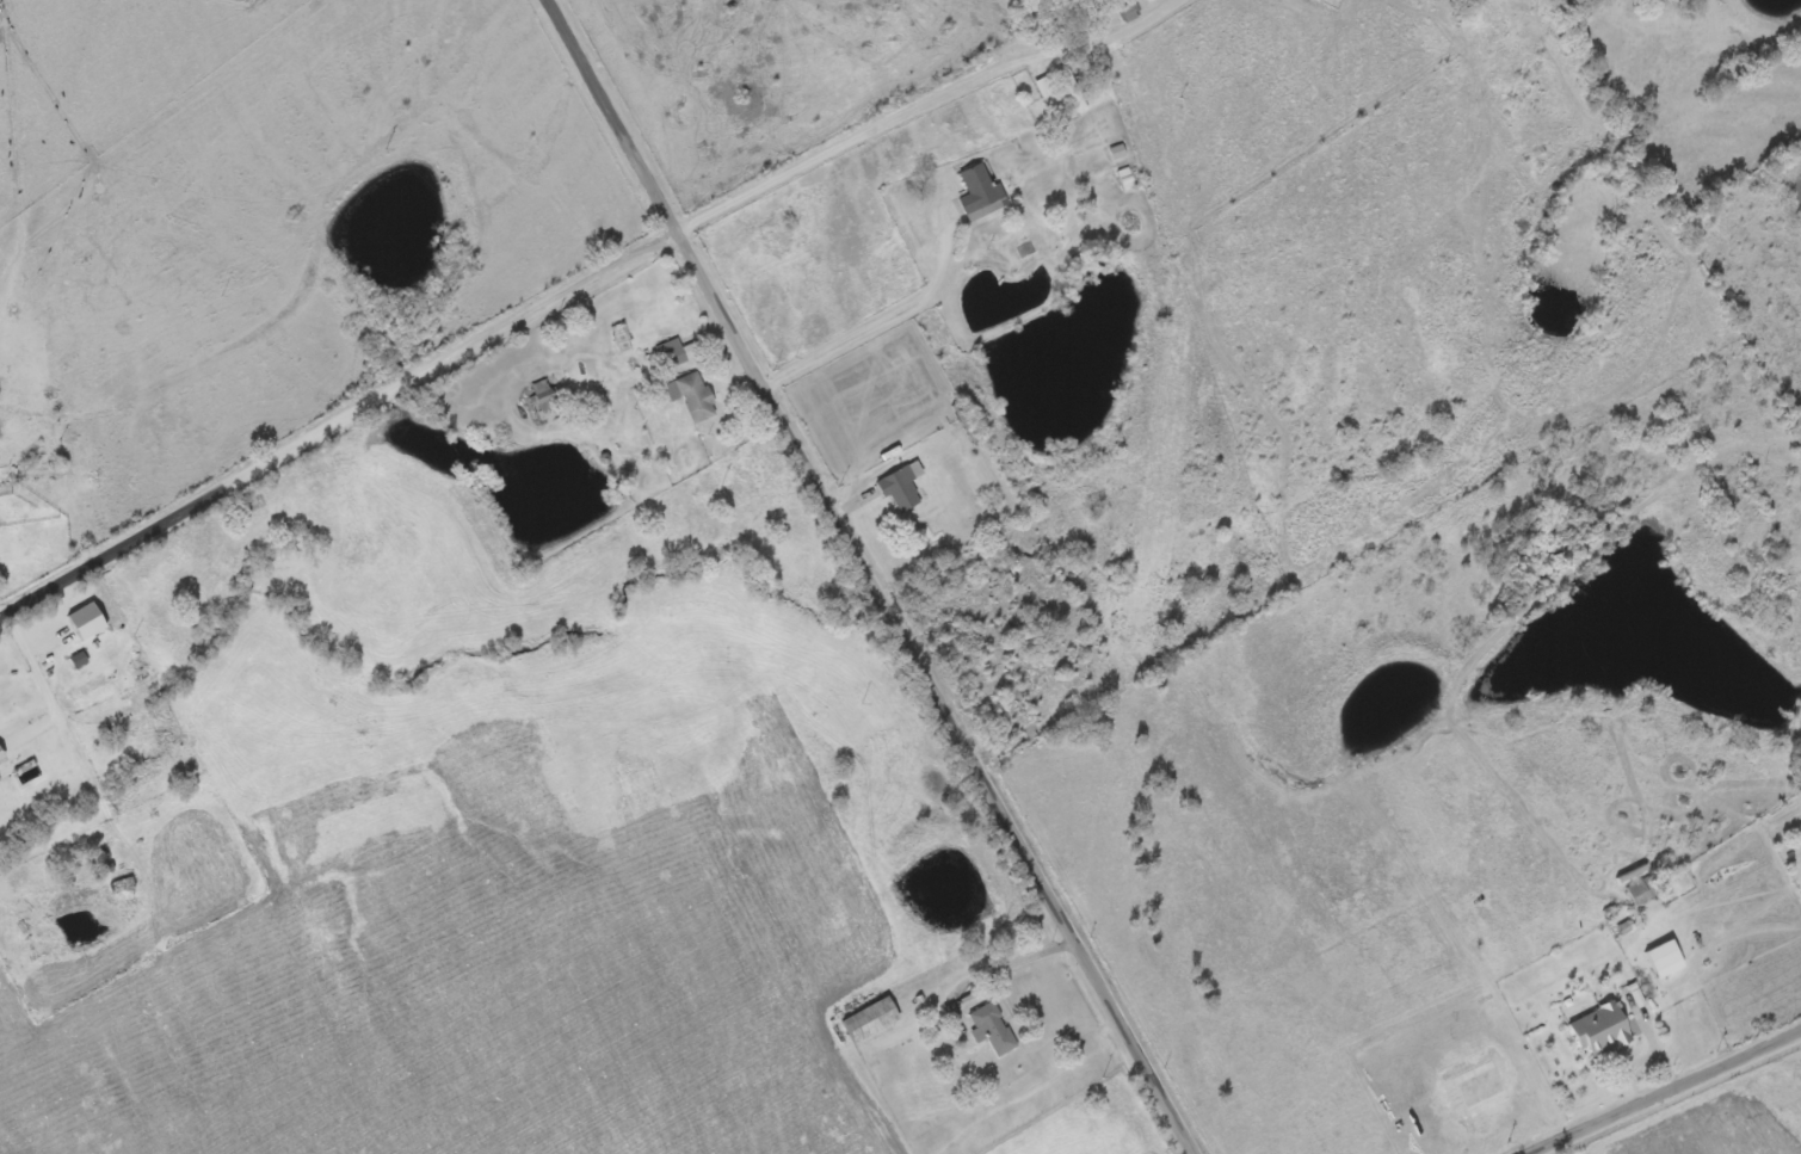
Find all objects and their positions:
building: (1069, 85)
building: (1047, 88)
road: (926, 104)
road: (613, 115)
building: (981, 195)
building: (677, 353)
building: (545, 396)
building: (692, 397)
road: (338, 424)
building: (900, 489)
building: (87, 623)
building: (79, 661)
road: (931, 691)
building: (1, 757)
building: (1643, 891)
building: (1666, 961)
building: (871, 1022)
building: (993, 1031)
building: (1602, 1031)
road: (1661, 1092)

